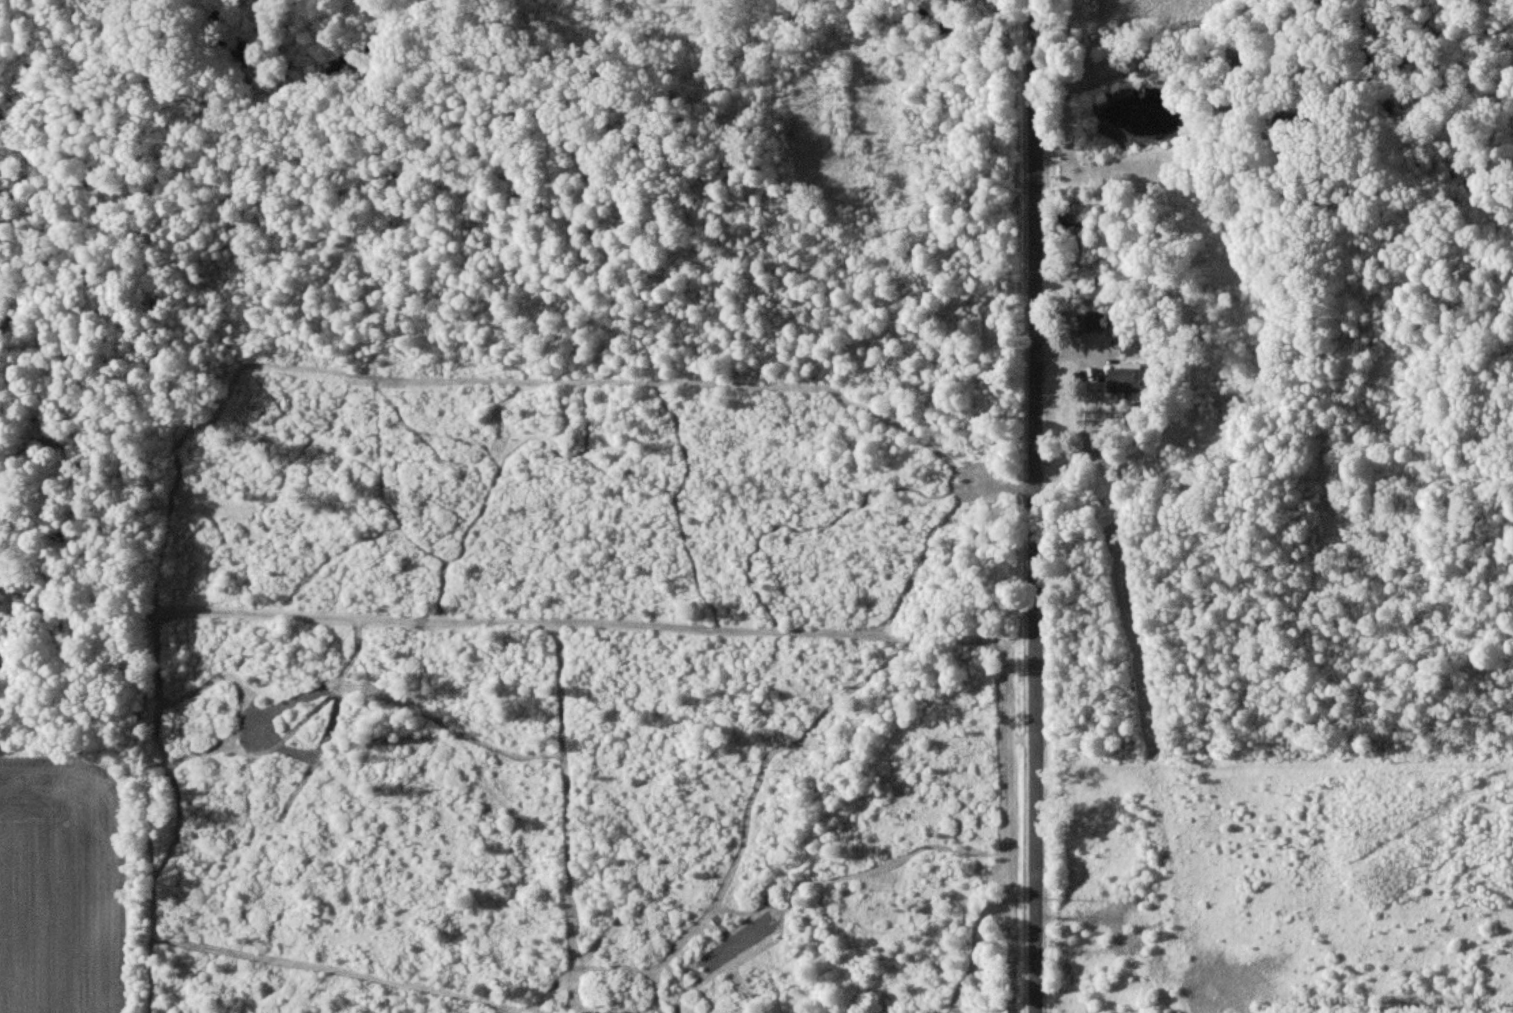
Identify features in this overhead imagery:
river: (952, 31)
river: (303, 72)
building: (1091, 321)
road: (1091, 398)
road: (1036, 506)

